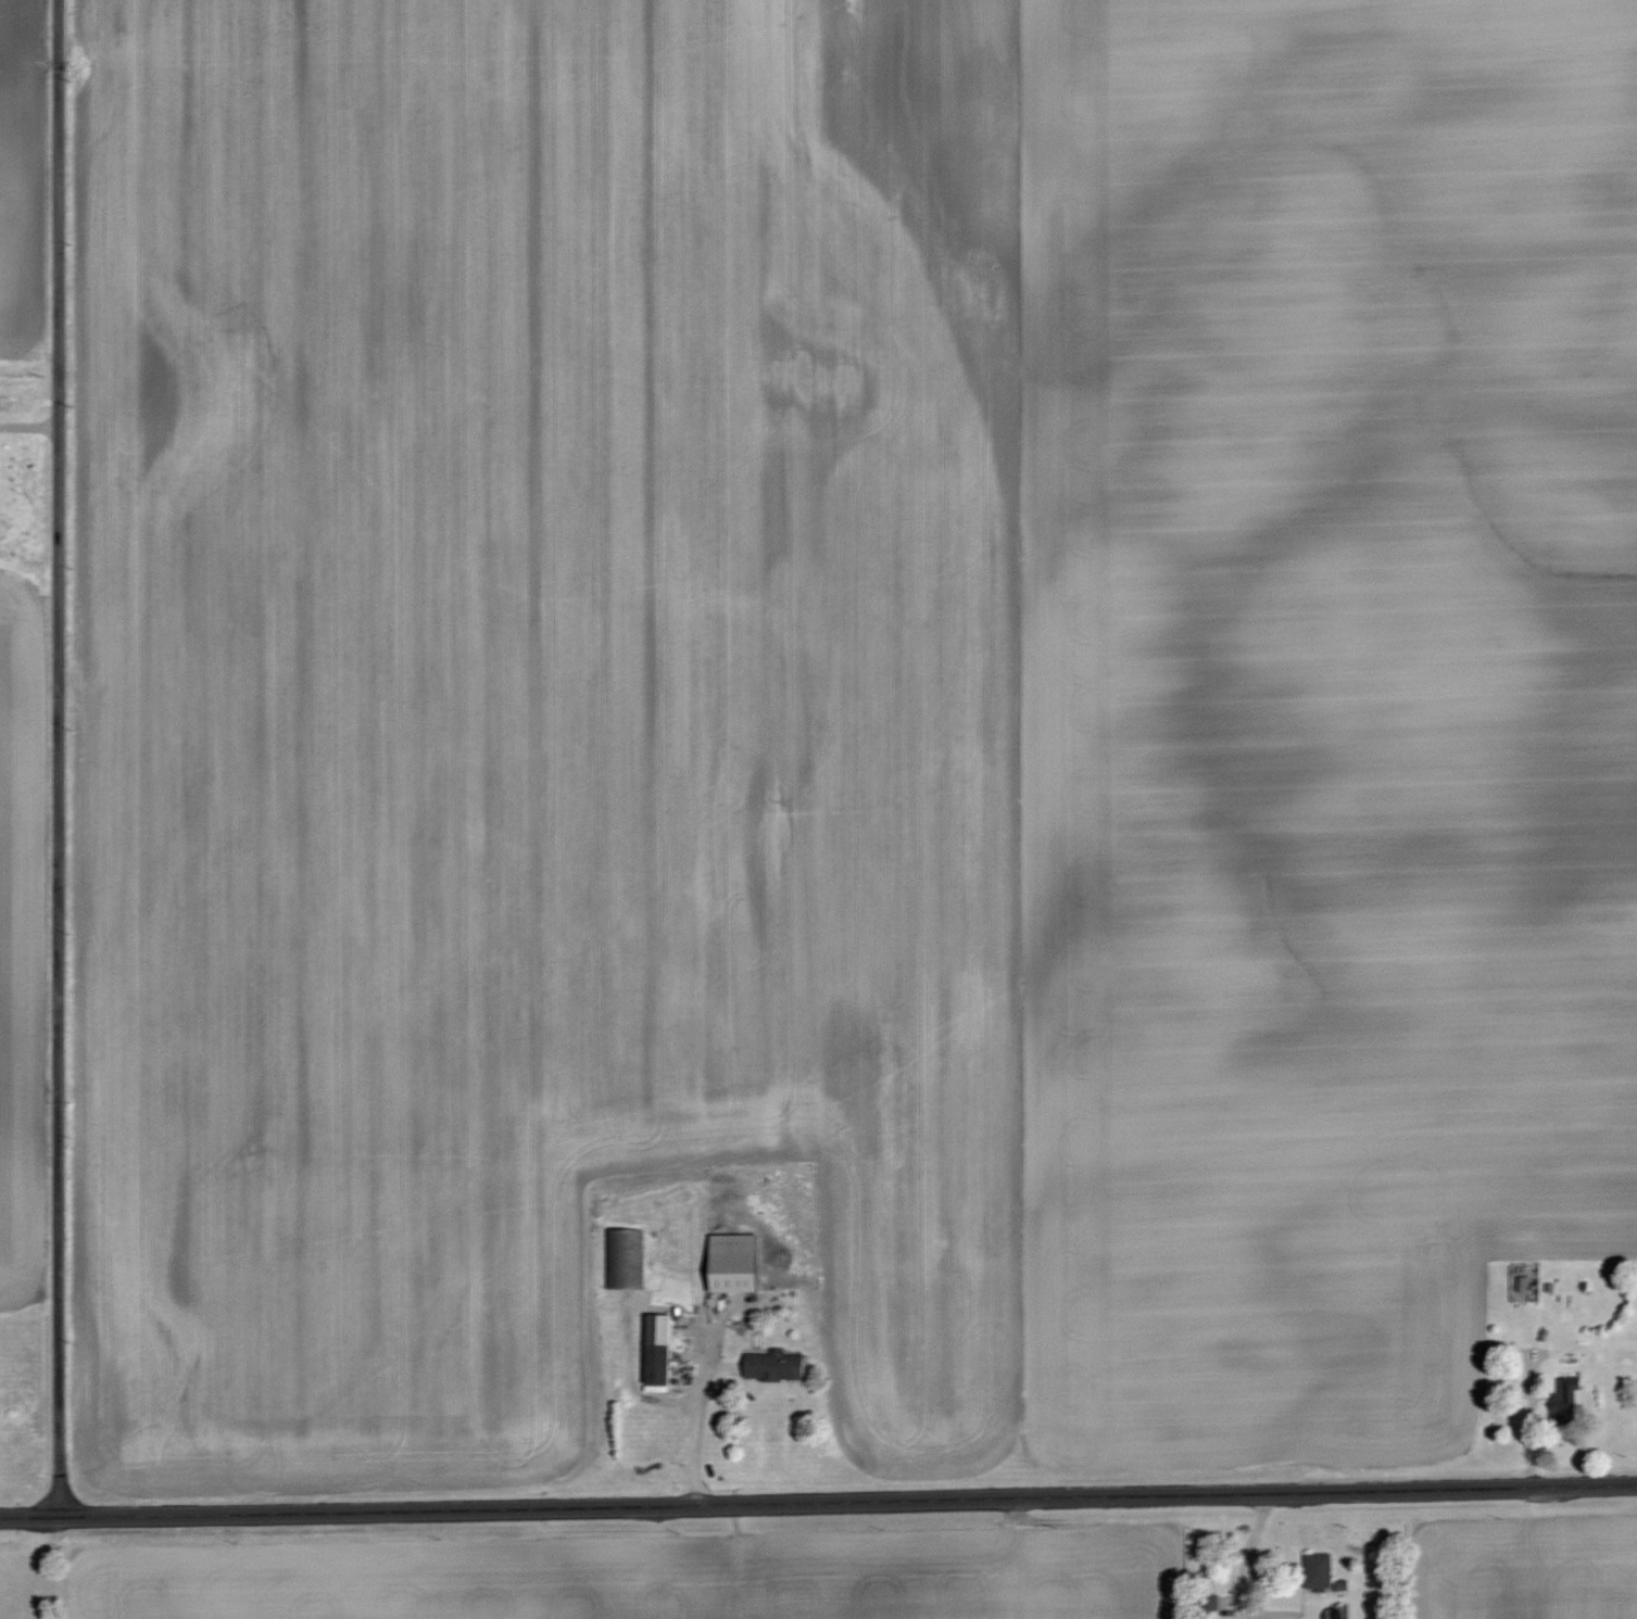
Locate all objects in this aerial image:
road: (23, 427)
road: (47, 760)
building: (622, 1257)
building: (735, 1262)
building: (658, 1348)
building: (775, 1365)
building: (1567, 1396)
road: (695, 1434)
road: (818, 1505)
road: (1247, 1557)
building: (1320, 1569)

